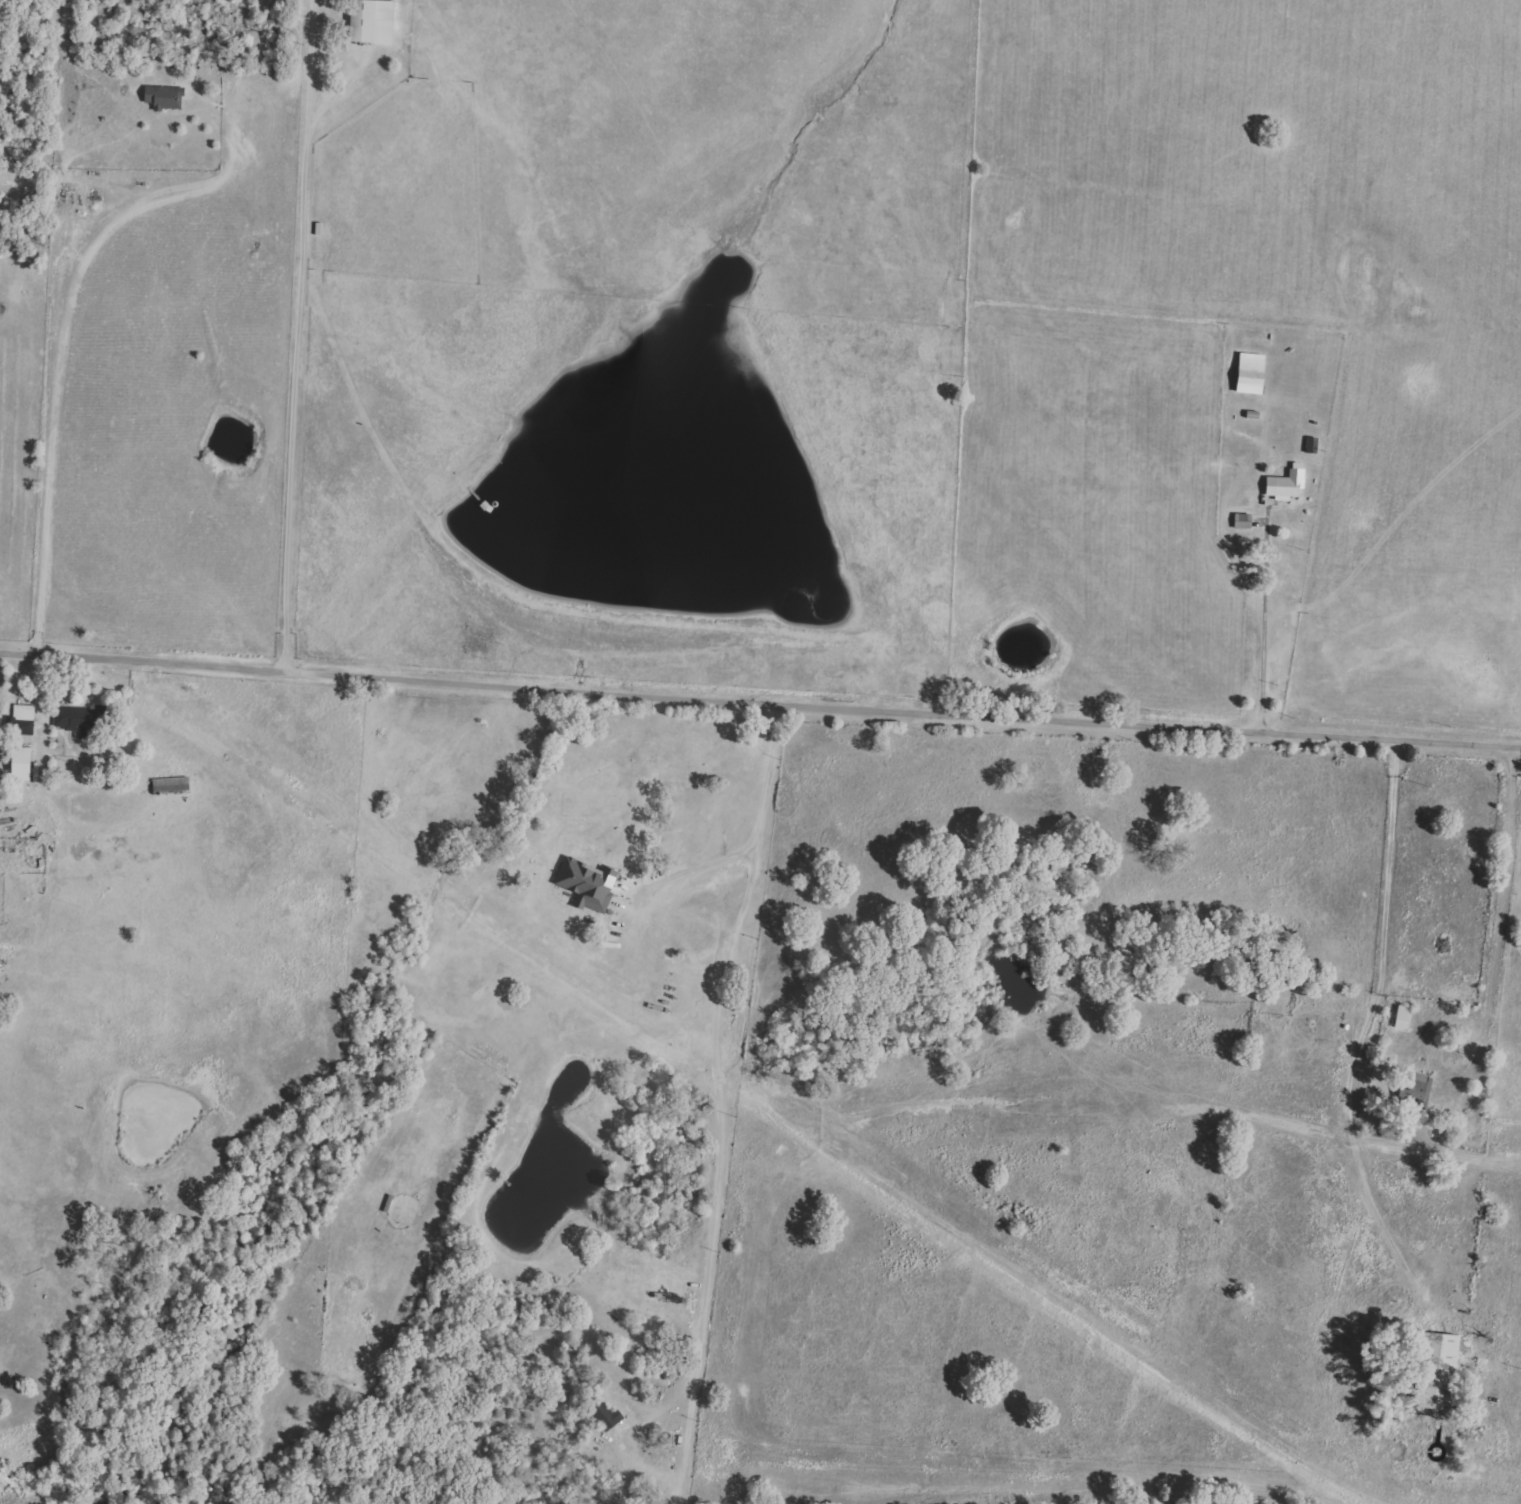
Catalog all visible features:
building: (372, 22)
building: (165, 98)
road: (80, 339)
road: (304, 340)
building: (1251, 373)
building: (1287, 482)
building: (1243, 520)
road: (1264, 632)
road: (760, 704)
building: (76, 721)
building: (21, 763)
building: (170, 784)
road: (699, 869)
building: (588, 884)
building: (1403, 1017)
road: (1369, 1036)
road: (724, 1102)
building: (1439, 1372)
building: (606, 1417)

